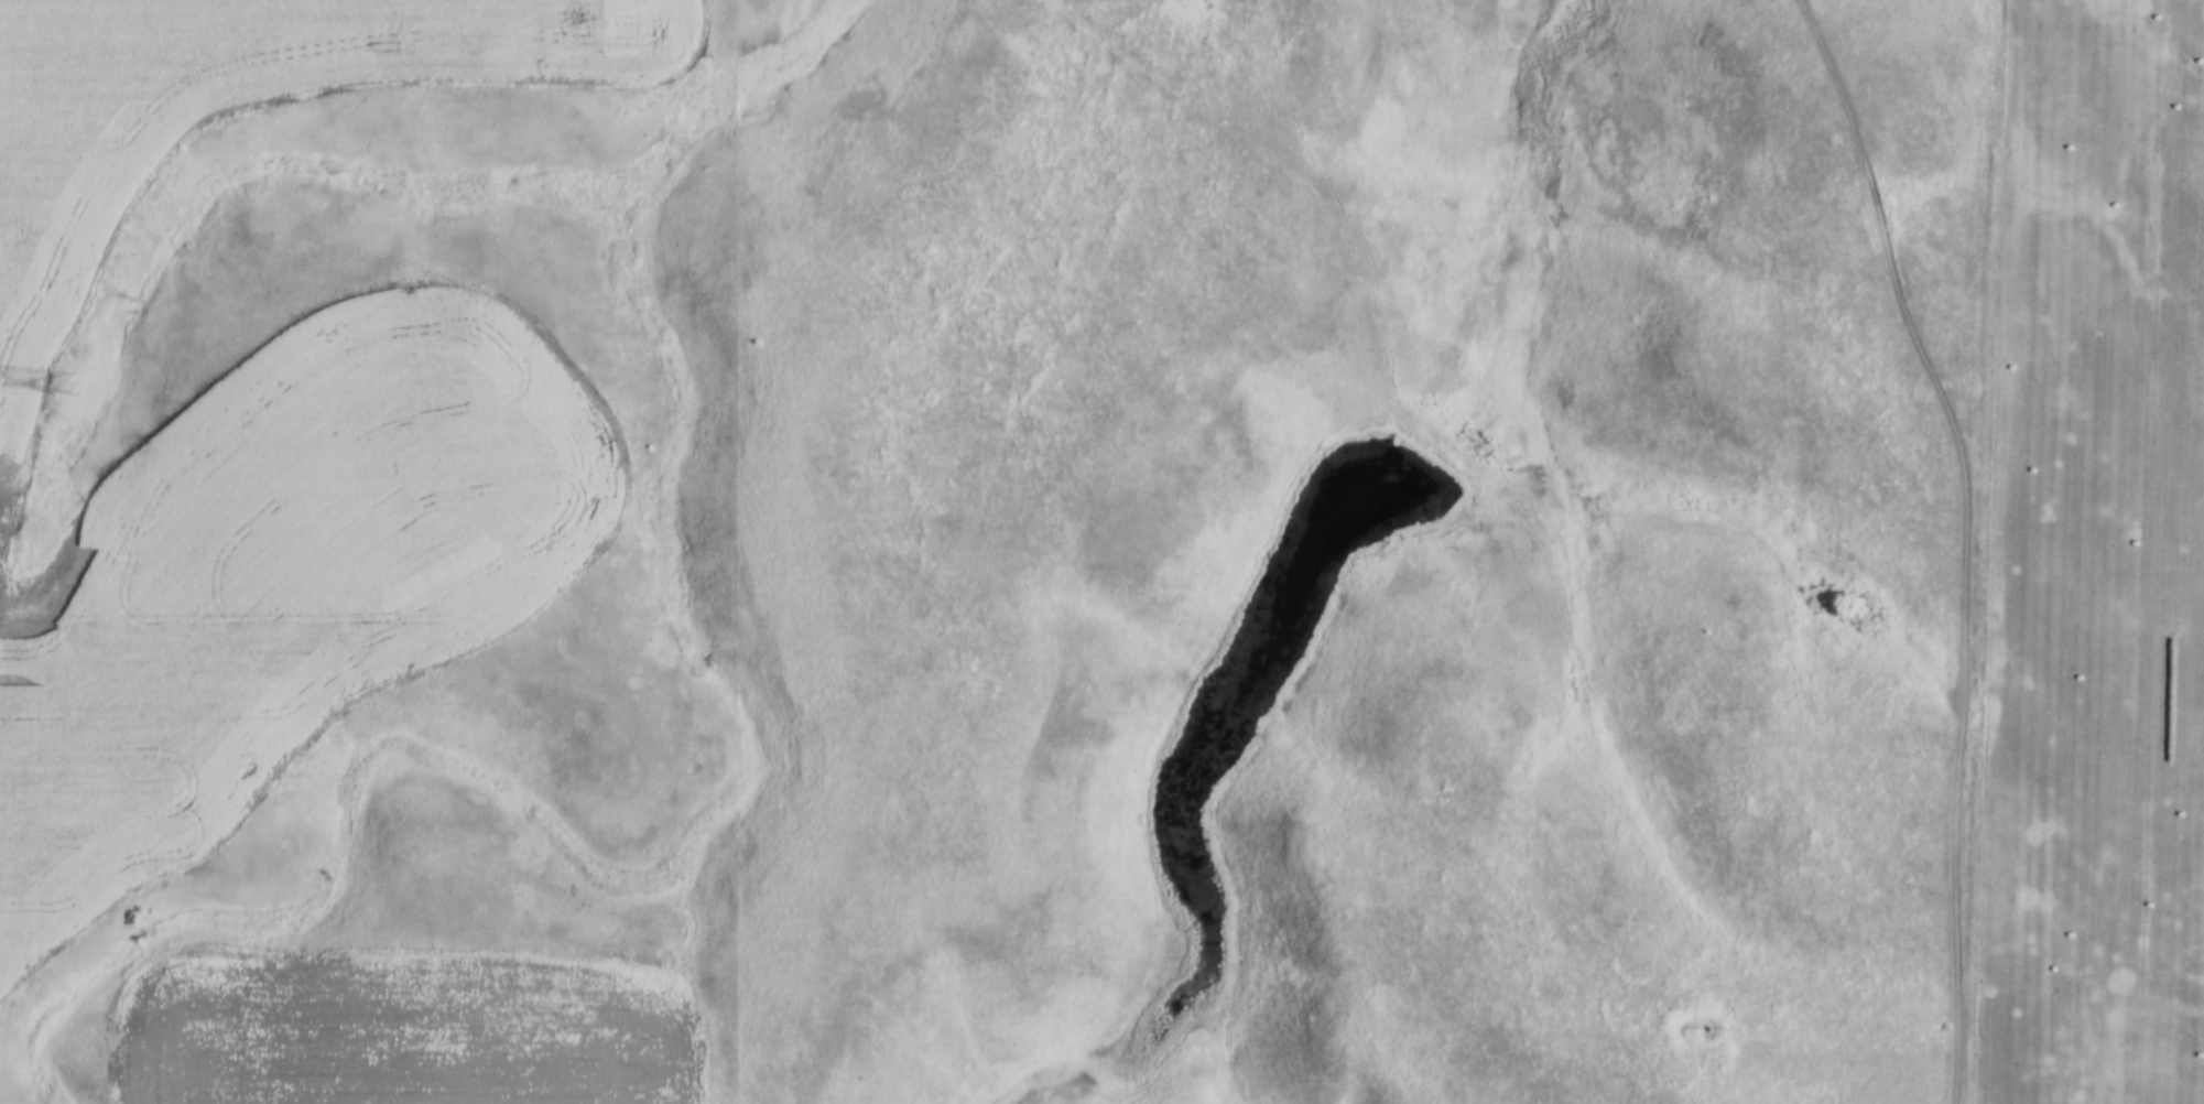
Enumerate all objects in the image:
power tower: (63, 386)

